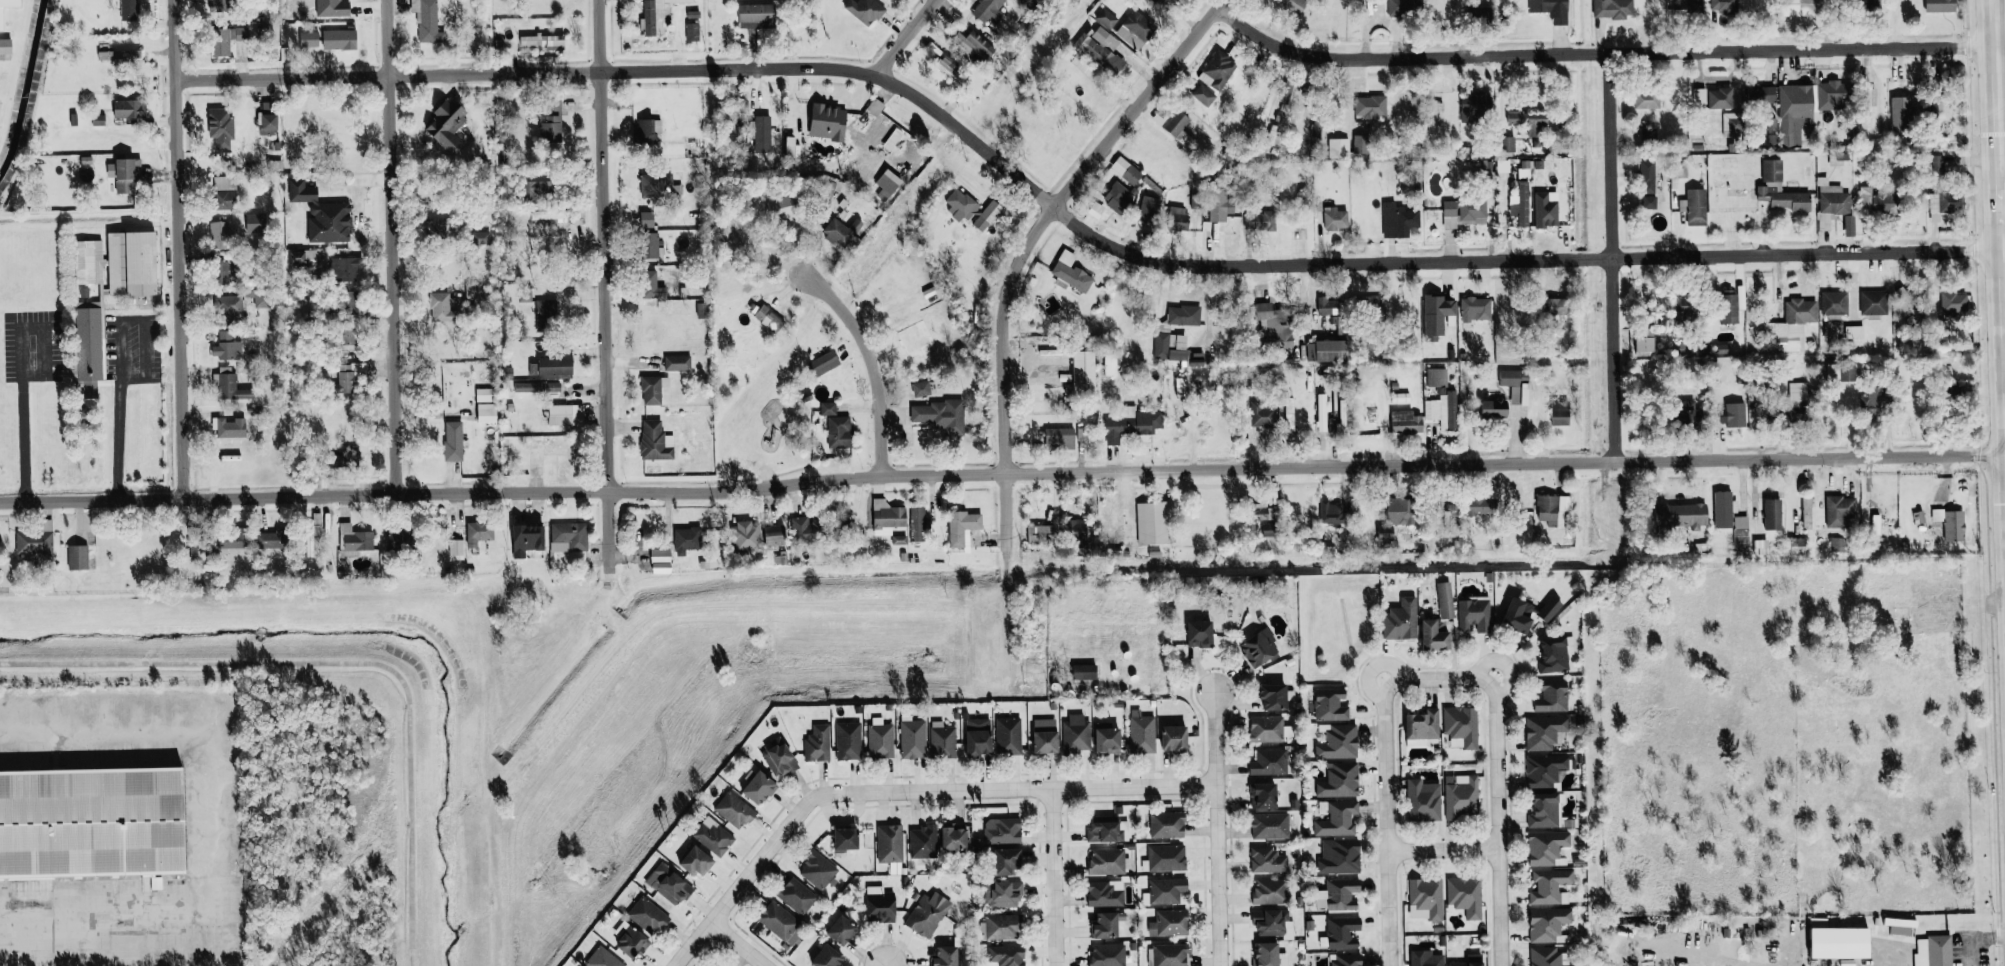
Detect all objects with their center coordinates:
building: (1154, 0)
building: (1025, 2)
building: (1869, 2)
building: (117, 4)
building: (1291, 5)
building: (1684, 5)
building: (1722, 5)
building: (1939, 5)
building: (1402, 6)
building: (1800, 7)
building: (1611, 8)
building: (129, 9)
building: (864, 10)
building: (1551, 10)
building: (990, 12)
building: (657, 15)
building: (755, 15)
building: (1, 18)
building: (1106, 18)
building: (427, 20)
building: (1135, 29)
road: (904, 37)
building: (308, 38)
building: (223, 39)
building: (339, 39)
building: (543, 40)
building: (971, 43)
building: (1110, 43)
building: (5, 46)
building: (1095, 50)
building: (117, 52)
road: (1598, 53)
building: (952, 69)
building: (1217, 70)
building: (1286, 94)
building: (1760, 94)
building: (1829, 94)
building: (1203, 95)
building: (1712, 97)
building: (1646, 100)
building: (1370, 105)
building: (1475, 106)
building: (1866, 106)
road: (2001, 106)
building: (129, 108)
building: (1791, 113)
building: (1432, 114)
building: (1899, 115)
building: (266, 119)
building: (827, 121)
building: (1529, 121)
building: (551, 122)
building: (446, 123)
building: (1176, 126)
building: (220, 128)
building: (877, 128)
building: (648, 130)
building: (760, 132)
building: (1648, 135)
building: (1272, 140)
building: (1360, 143)
building: (1507, 143)
building: (1338, 146)
road: (1609, 155)
building: (1125, 170)
building: (126, 173)
building: (1647, 176)
road: (2000, 178)
building: (886, 184)
building: (657, 185)
building: (537, 187)
building: (1778, 189)
building: (224, 192)
building: (1119, 197)
building: (1831, 198)
building: (1877, 200)
building: (1648, 202)
building: (959, 204)
building: (1218, 205)
building: (1519, 205)
building: (1944, 205)
building: (1695, 206)
building: (781, 207)
building: (1148, 209)
building: (1545, 209)
building: (1463, 212)
building: (322, 214)
building: (987, 215)
building: (548, 216)
building: (1174, 218)
building: (1334, 218)
building: (646, 219)
building: (1259, 220)
building: (1398, 220)
road: (1069, 221)
building: (254, 223)
building: (1848, 225)
building: (841, 231)
building: (219, 234)
road: (1027, 242)
building: (650, 245)
road: (389, 247)
road: (177, 248)
building: (302, 258)
building: (88, 262)
building: (131, 263)
building: (344, 268)
building: (221, 272)
building: (1071, 272)
road: (603, 286)
building: (650, 286)
building: (524, 295)
building: (1372, 301)
building: (348, 302)
building: (1872, 302)
building: (1833, 303)
building: (1953, 303)
building: (1907, 305)
building: (1327, 306)
building: (1552, 306)
building: (1727, 306)
building: (442, 307)
building: (1475, 308)
building: (1686, 308)
building: (228, 309)
building: (701, 310)
building: (546, 315)
building: (1183, 315)
building: (1435, 315)
building: (767, 317)
building: (1273, 326)
building: (1789, 326)
building: (1853, 331)
building: (348, 335)
building: (1643, 341)
building: (226, 347)
building: (1170, 347)
building: (1326, 350)
road: (119, 358)
road: (1612, 360)
building: (555, 362)
building: (824, 362)
building: (676, 363)
road: (870, 364)
road: (20, 368)
building: (1841, 372)
building: (1079, 374)
building: (1436, 377)
building: (345, 379)
building: (229, 384)
building: (1180, 386)
building: (1513, 386)
building: (537, 387)
building: (920, 388)
building: (652, 389)
building: (484, 394)
building: (1872, 402)
building: (1797, 405)
building: (827, 408)
building: (1493, 409)
building: (1322, 410)
building: (1442, 411)
building: (486, 412)
building: (1559, 413)
building: (565, 414)
building: (1261, 414)
building: (1685, 414)
building: (1731, 415)
building: (940, 416)
building: (1288, 417)
building: (1342, 418)
building: (1405, 422)
building: (1131, 424)
building: (228, 427)
building: (839, 431)
building: (1059, 438)
building: (452, 440)
building: (655, 441)
road: (1002, 473)
building: (1448, 503)
building: (1476, 506)
building: (1552, 509)
building: (1723, 509)
building: (1839, 510)
building: (1261, 511)
building: (1400, 511)
building: (1331, 513)
building: (1771, 514)
building: (886, 515)
building: (1680, 515)
building: (1153, 522)
building: (1950, 523)
building: (918, 524)
building: (962, 526)
building: (1740, 527)
building: (803, 530)
building: (478, 532)
building: (1076, 532)
building: (1041, 534)
building: (772, 535)
building: (568, 536)
building: (744, 536)
building: (270, 539)
building: (526, 539)
building: (685, 539)
building: (227, 540)
building: (353, 540)
building: (34, 543)
building: (1842, 544)
building: (455, 548)
building: (77, 557)
building: (660, 560)
building: (1548, 609)
building: (1474, 614)
building: (1517, 615)
building: (1400, 620)
building: (1437, 621)
building: (1199, 633)
building: (1258, 647)
building: (1554, 654)
road: (347, 663)
building: (1083, 671)
road: (1440, 678)
building: (1274, 696)
building: (1551, 696)
building: (1329, 705)
building: (1460, 727)
building: (1265, 729)
building: (1543, 731)
building: (1141, 732)
building: (1075, 734)
building: (1007, 736)
building: (1044, 736)
building: (977, 737)
building: (879, 738)
building: (912, 738)
road: (101, 739)
building: (1173, 739)
building: (941, 740)
building: (1106, 740)
building: (847, 741)
building: (1336, 741)
building: (817, 743)
building: (778, 758)
building: (1268, 762)
building: (1543, 770)
building: (1338, 780)
building: (758, 787)
road: (904, 790)
building: (1262, 795)
building: (1460, 796)
building: (1422, 800)
building: (733, 810)
building: (1543, 810)
building: (1337, 818)
road: (1500, 821)
road: (1388, 822)
building: (92, 823)
building: (1166, 825)
building: (1268, 825)
road: (205, 828)
road: (1215, 829)
building: (1001, 830)
building: (1104, 832)
building: (712, 836)
building: (952, 837)
building: (844, 839)
building: (922, 842)
building: (889, 843)
road: (1445, 847)
building: (1338, 856)
building: (1165, 857)
building: (1266, 860)
building: (696, 861)
building: (1005, 861)
building: (1106, 861)
building: (817, 870)
road: (1052, 877)
building: (667, 884)
building: (1549, 886)
building: (1166, 890)
building: (1268, 891)
building: (1104, 893)
building: (1339, 893)
building: (1002, 894)
building: (796, 895)
building: (1464, 895)
building: (1425, 898)
building: (879, 905)
building: (926, 914)
building: (647, 916)
building: (777, 920)
road: (104, 922)
building: (1269, 922)
building: (1168, 923)
building: (1546, 923)
building: (1105, 925)
building: (1002, 926)
building: (1899, 926)
building: (841, 930)
building: (1341, 932)
road: (1976, 938)
building: (630, 941)
building: (1838, 943)
road: (737, 944)
building: (1934, 950)
building: (1006, 955)
building: (1106, 955)
building: (1169, 955)
building: (1267, 955)
building: (944, 956)
building: (826, 957)
building: (602, 958)
building: (1424, 958)
building: (1346, 959)
building: (1468, 961)
road: (1721, 962)

